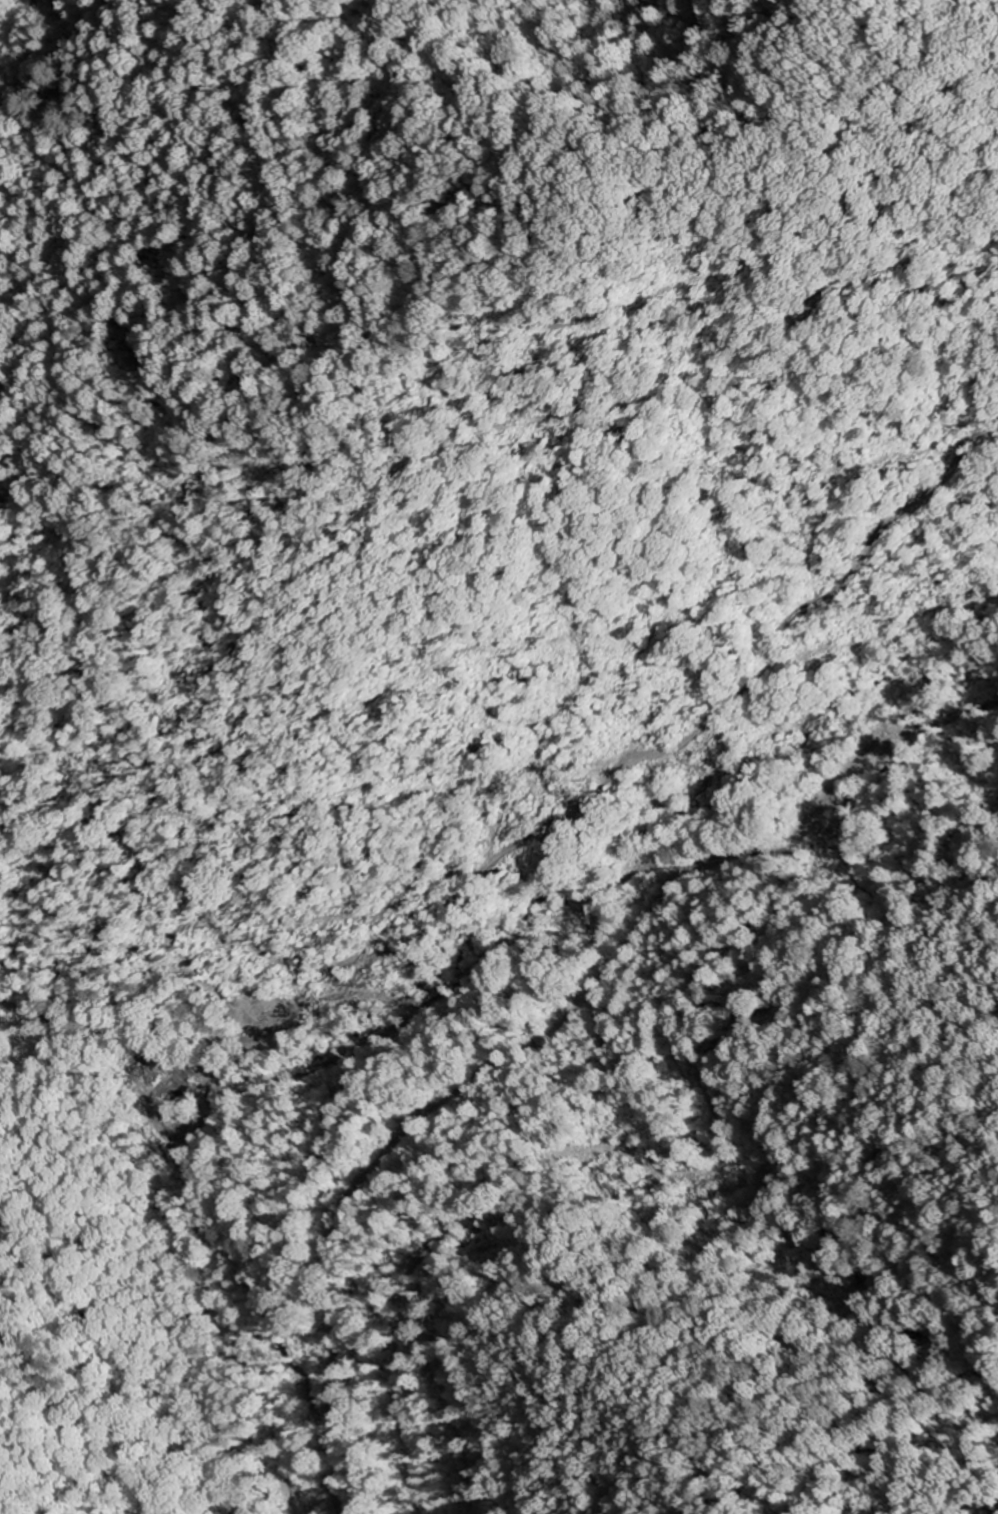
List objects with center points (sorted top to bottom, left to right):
road: (66, 1074)

